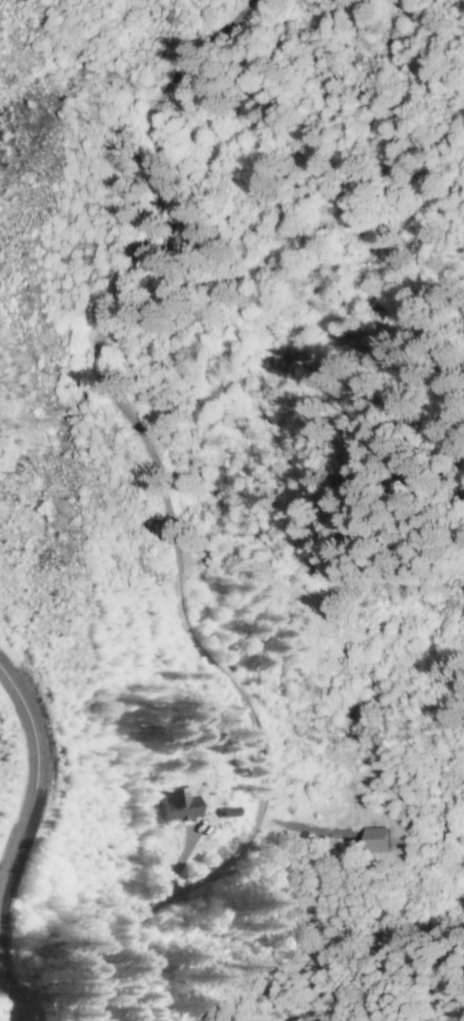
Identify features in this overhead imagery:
road: (31, 796)
building: (179, 805)
building: (227, 813)
building: (381, 839)
road: (1, 1003)

